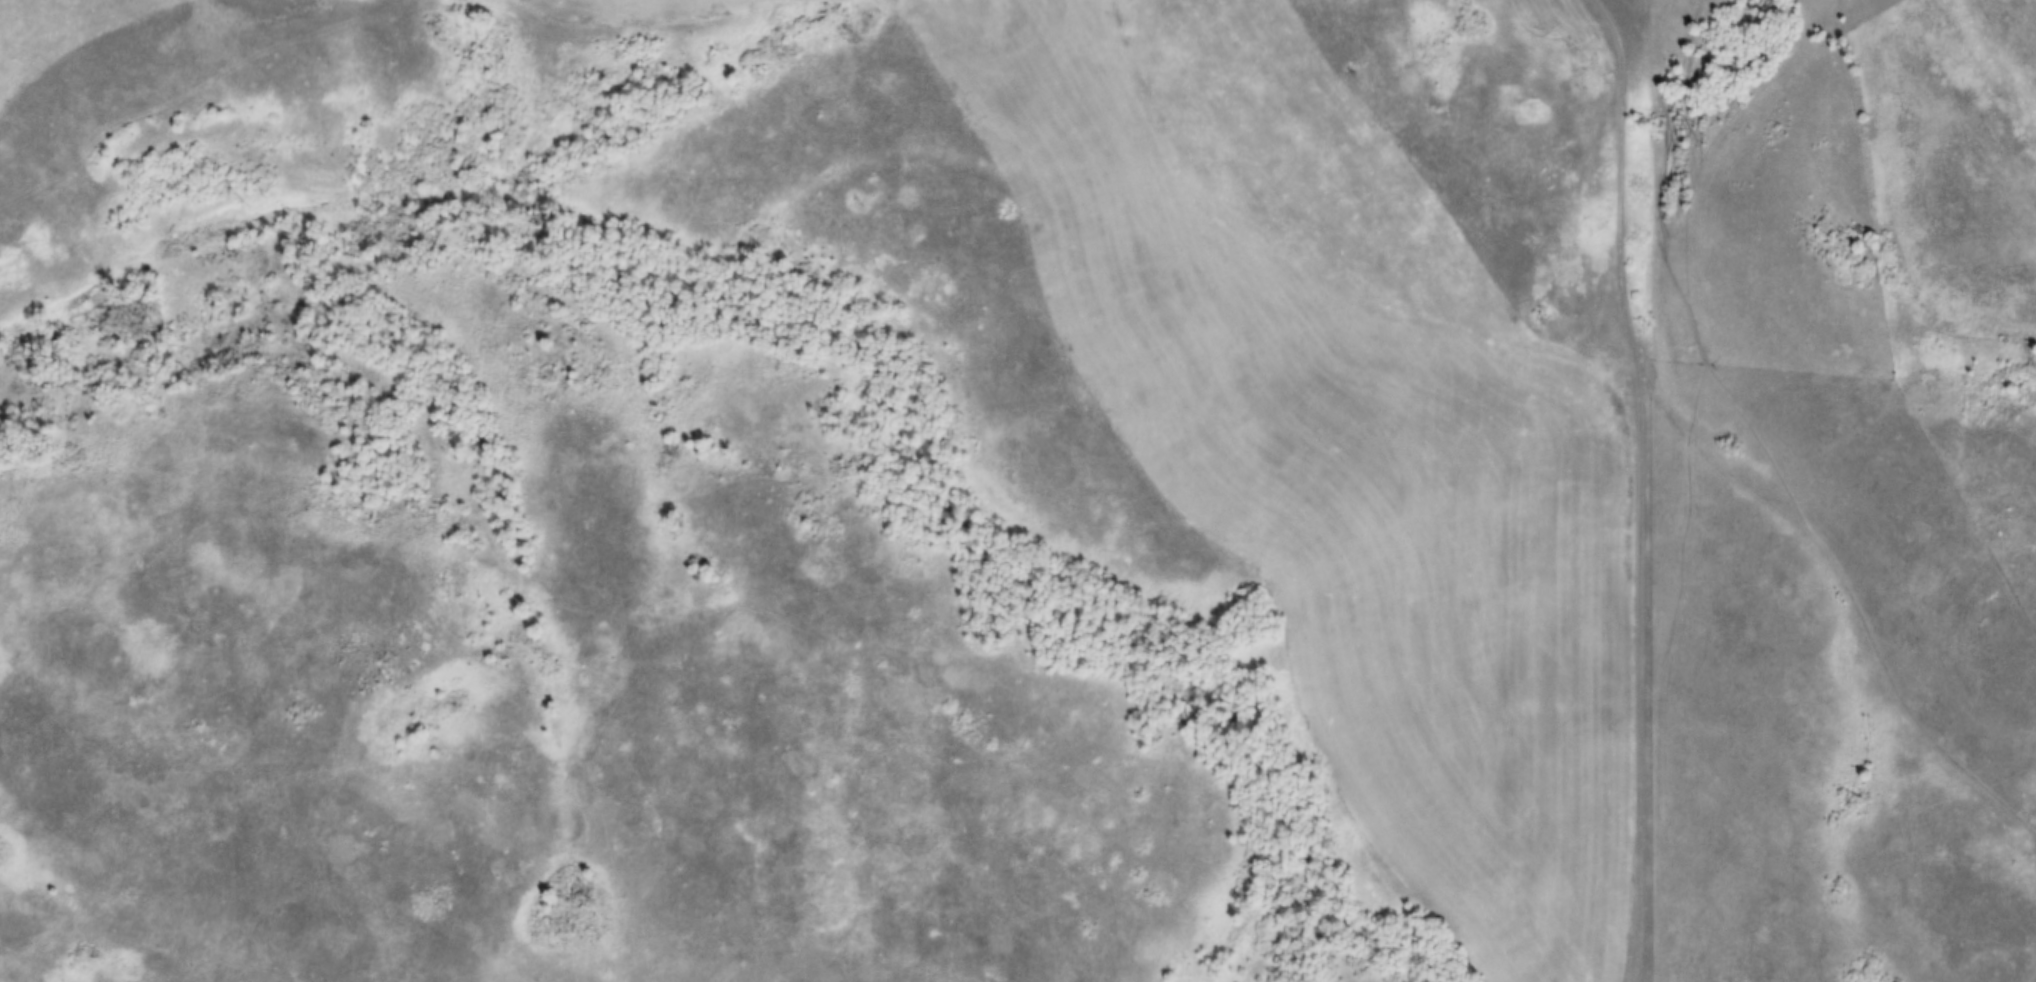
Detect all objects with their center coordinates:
road: (1648, 484)
road: (1850, 597)

